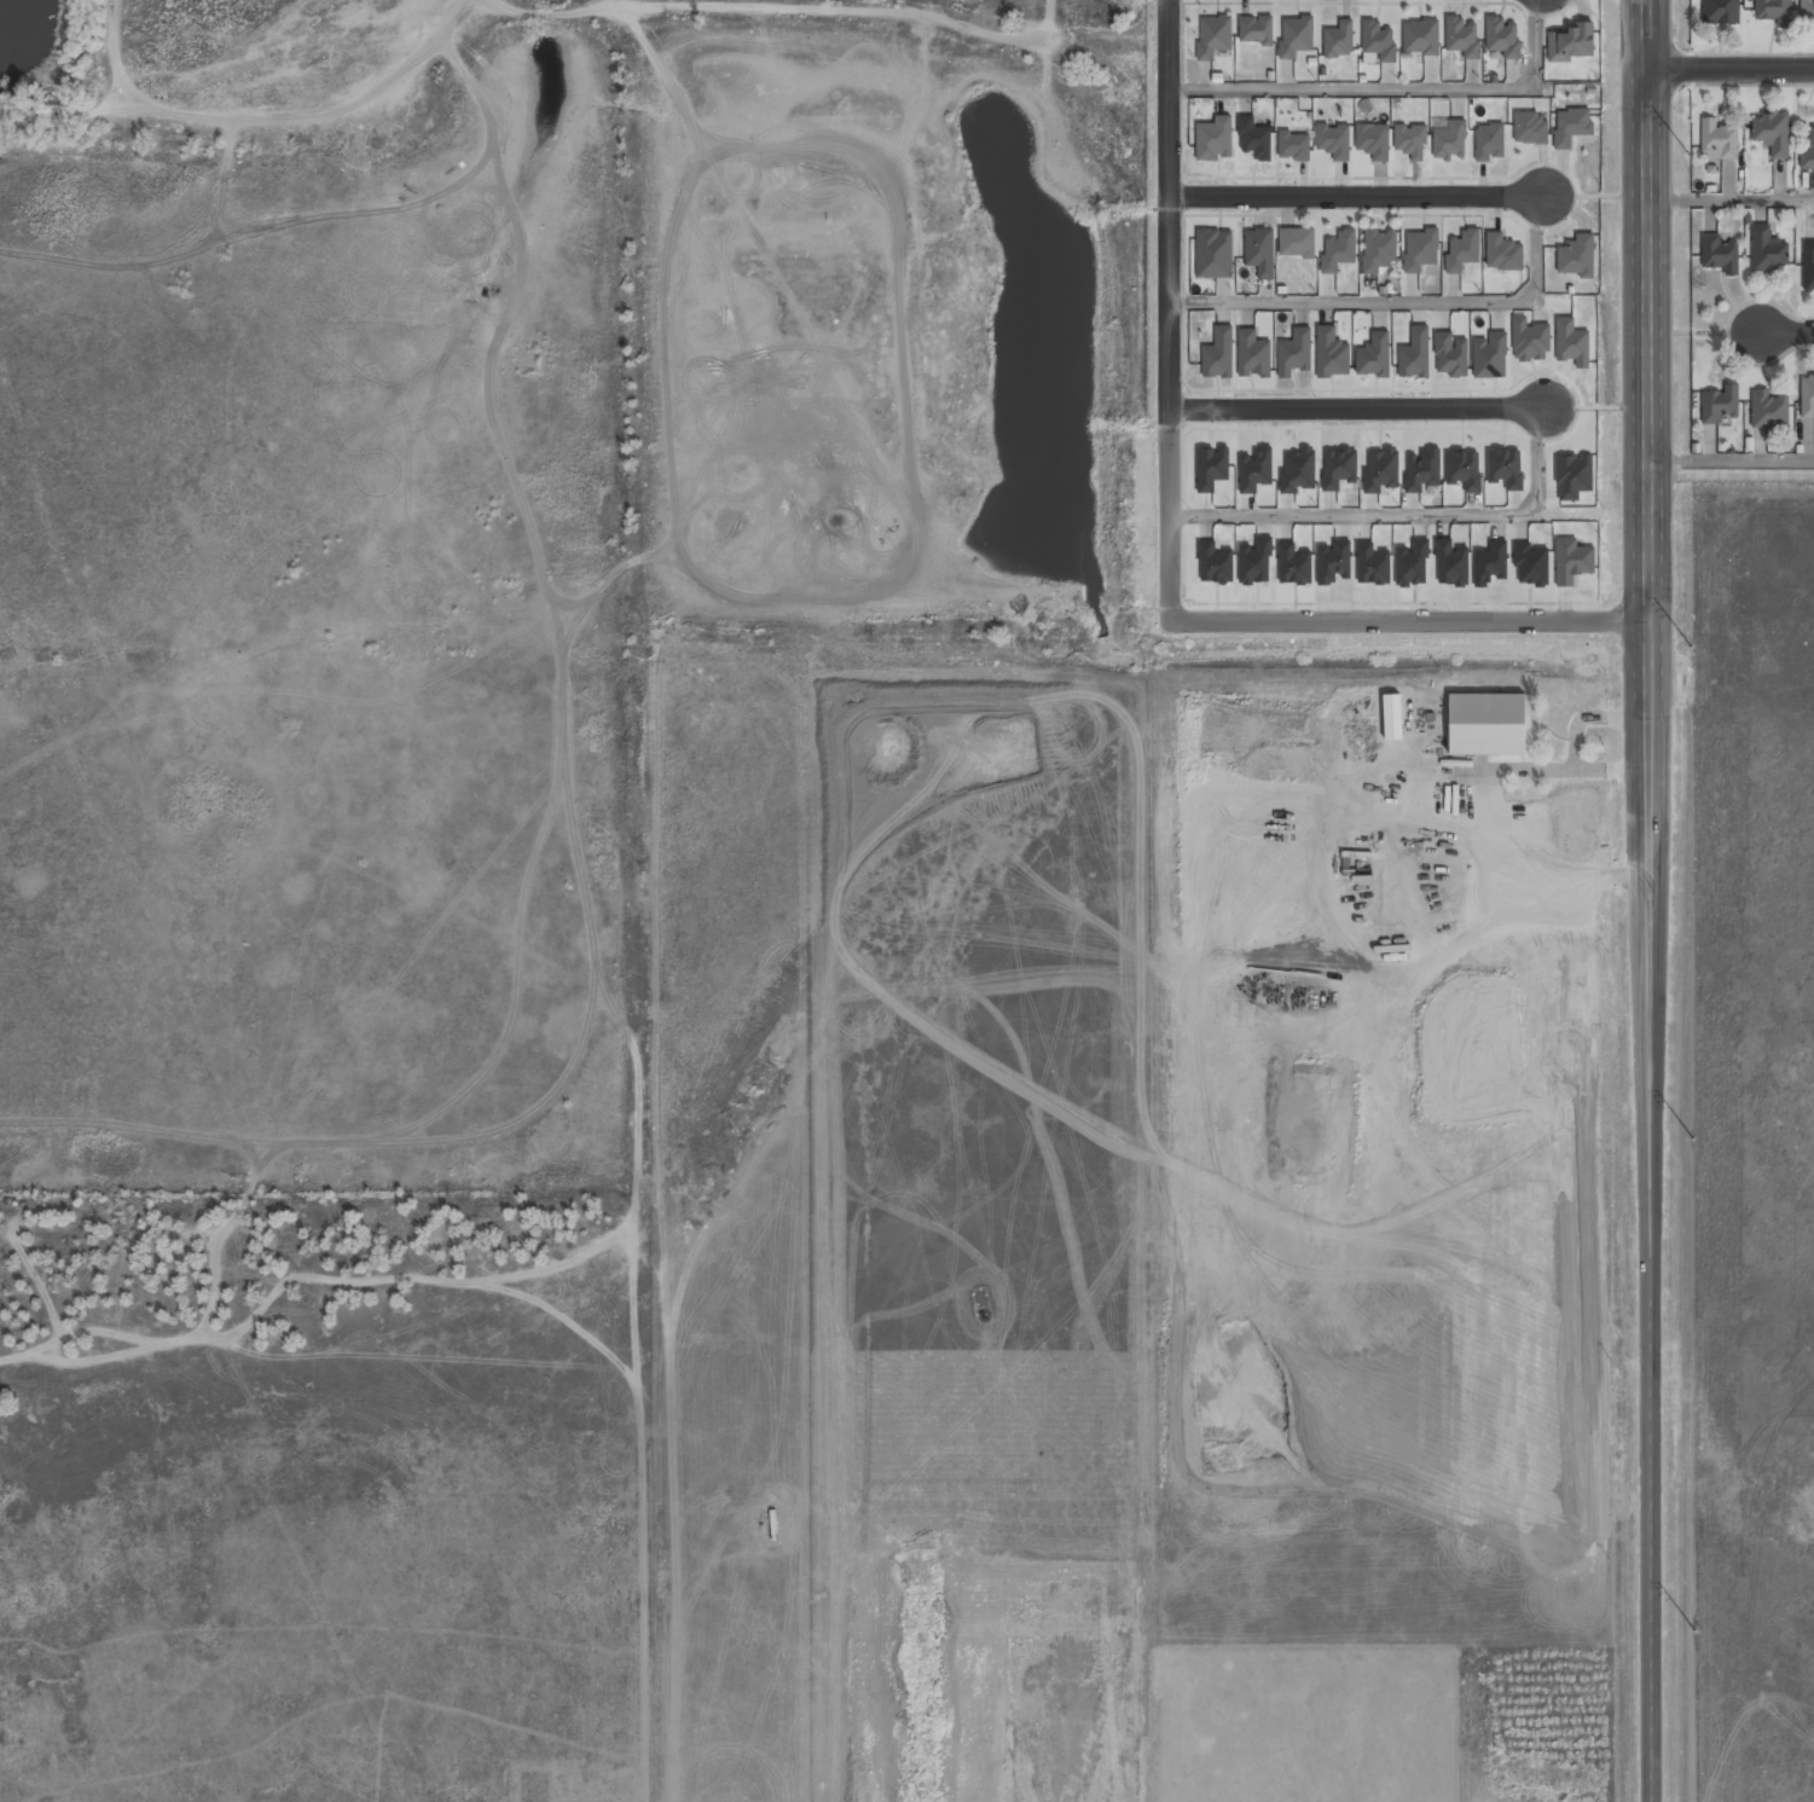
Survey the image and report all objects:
road: (562, 12)
building: (1775, 12)
building: (1721, 13)
building: (1808, 13)
building: (1256, 29)
building: (1296, 35)
building: (1213, 36)
building: (1420, 36)
building: (1461, 36)
building: (1501, 36)
building: (1339, 39)
building: (1378, 40)
building: (1572, 44)
road: (1728, 69)
road: (1395, 88)
building: (1571, 126)
building: (1530, 127)
building: (1772, 134)
building: (1253, 138)
building: (1448, 138)
building: (1213, 139)
building: (1333, 140)
building: (1372, 140)
building: (1410, 140)
building: (1489, 141)
building: (1719, 141)
building: (1293, 145)
building: (1808, 152)
power tower: (1690, 157)
road: (1354, 197)
road: (1729, 201)
building: (1296, 242)
building: (1259, 251)
building: (1339, 251)
building: (1379, 251)
building: (1420, 251)
building: (1462, 251)
building: (1213, 253)
building: (1768, 253)
building: (1502, 254)
building: (1720, 255)
building: (1576, 259)
building: (1808, 266)
road: (1645, 303)
road: (1406, 305)
road: (1167, 307)
road: (1789, 332)
building: (1571, 342)
building: (1294, 352)
building: (1331, 353)
building: (1218, 354)
building: (1252, 354)
building: (1415, 354)
building: (1450, 354)
building: (1375, 357)
building: (1490, 358)
building: (1808, 398)
building: (1721, 405)
building: (1769, 411)
road: (1355, 413)
road: (1751, 459)
building: (1211, 468)
building: (1338, 468)
building: (1505, 468)
building: (1462, 469)
building: (1254, 470)
building: (1380, 470)
building: (1421, 470)
building: (1298, 471)
road: (1408, 612)
power tower: (1692, 648)
building: (1486, 725)
power tower: (1694, 1138)
road: (1650, 1205)
power tower: (1696, 1630)

